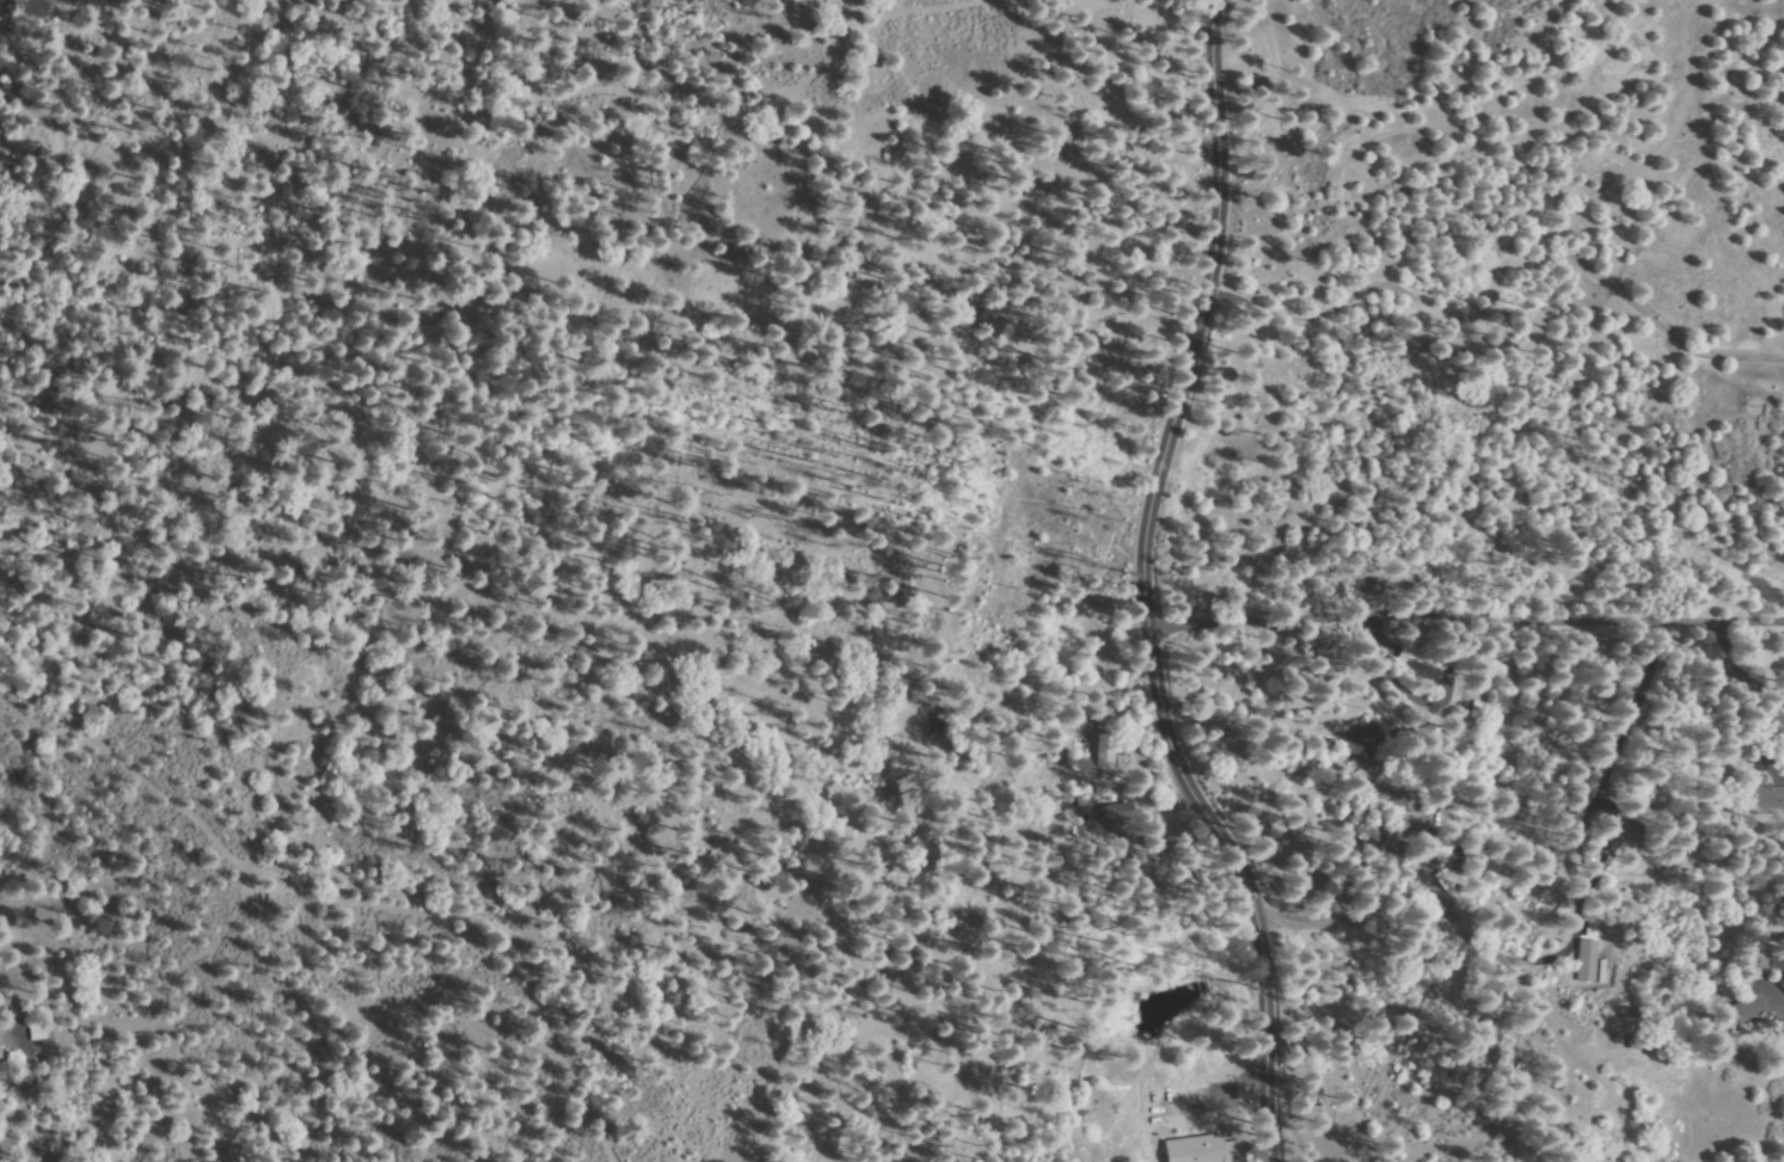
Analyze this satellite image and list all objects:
road: (1148, 588)
road: (1469, 626)
building: (1422, 663)
building: (1482, 706)
building: (1365, 740)
building: (1105, 749)
building: (1764, 797)
building: (1405, 803)
building: (1578, 807)
building: (1118, 812)
building: (1620, 837)
building: (1380, 847)
building: (1592, 850)
road: (366, 893)
building: (1770, 965)
building: (1782, 984)
building: (1749, 1009)
building: (39, 1032)
building: (1653, 1043)
building: (0, 1049)
building: (1108, 1120)
building: (1651, 1130)
building: (1114, 1136)
building: (1637, 1141)
building: (1218, 1148)

